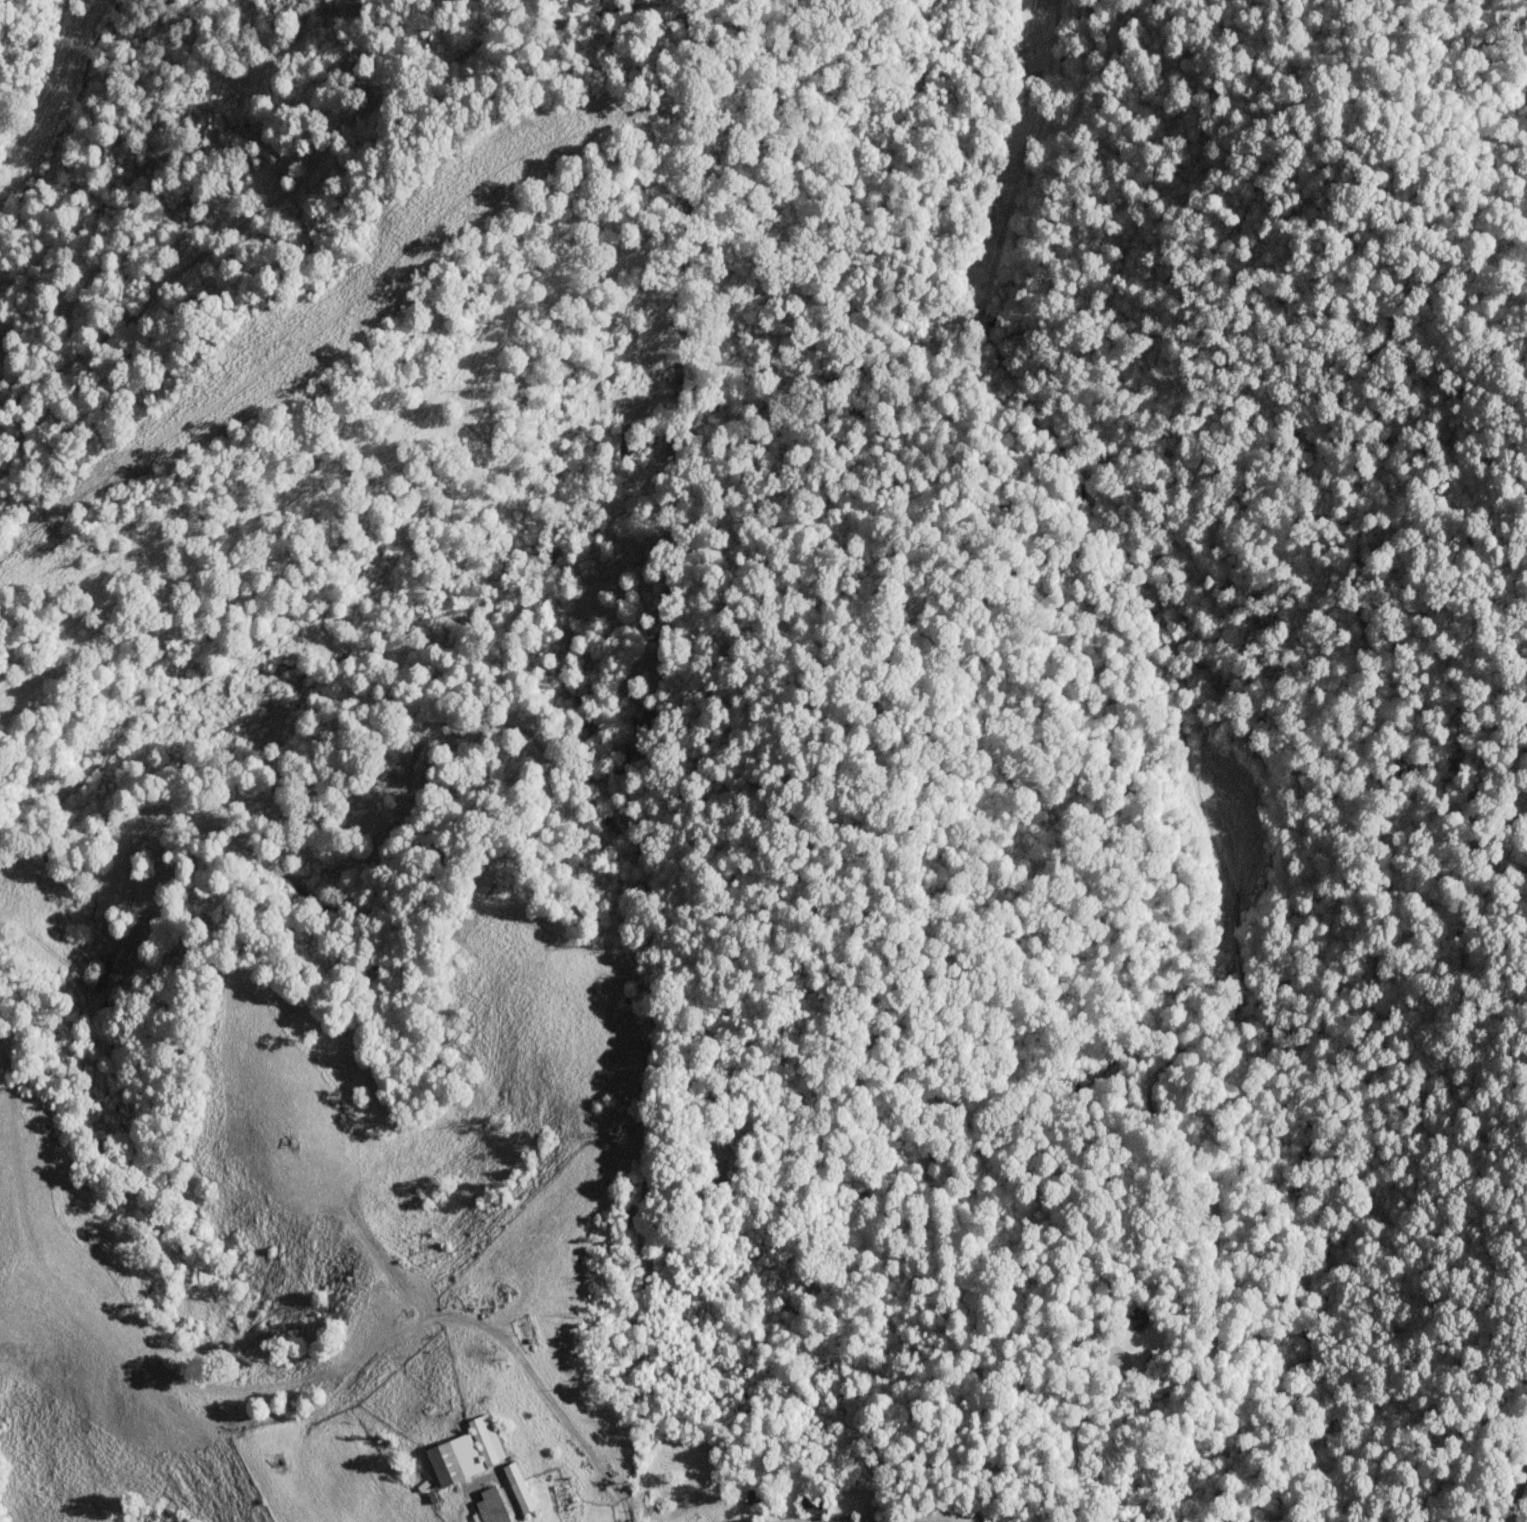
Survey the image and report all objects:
building: (1135, 1317)
building: (1151, 1359)
building: (484, 1439)
building: (452, 1459)
building: (517, 1487)
building: (757, 1496)
road: (506, 1498)
building: (811, 1504)
building: (489, 1506)

